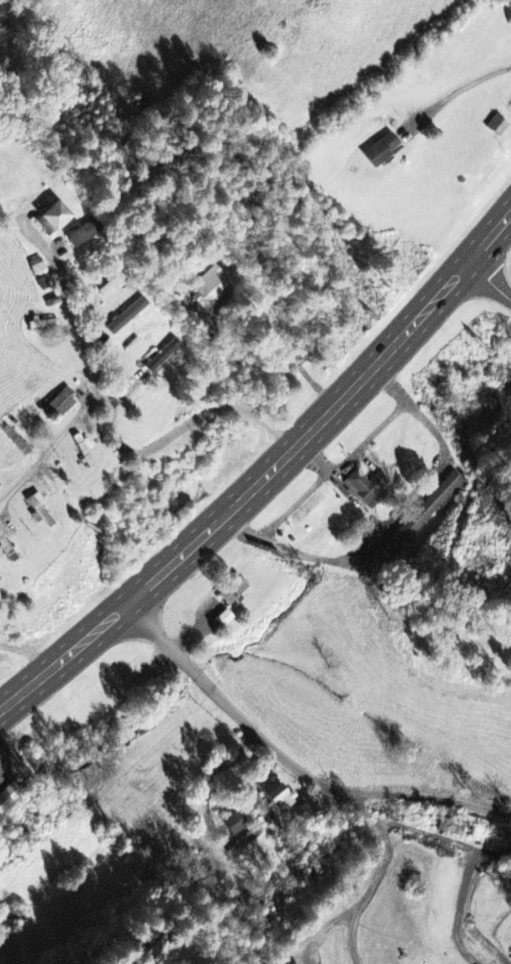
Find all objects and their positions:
road: (508, 2)
building: (496, 127)
building: (380, 151)
building: (51, 219)
building: (82, 234)
road: (490, 283)
building: (126, 318)
building: (162, 357)
building: (61, 404)
road: (123, 428)
road: (53, 446)
road: (265, 472)
building: (367, 489)
building: (37, 509)
building: (428, 511)
building: (6, 552)
building: (232, 592)
road: (23, 661)
road: (292, 765)
building: (8, 797)
building: (277, 799)
building: (234, 825)
building: (9, 920)

